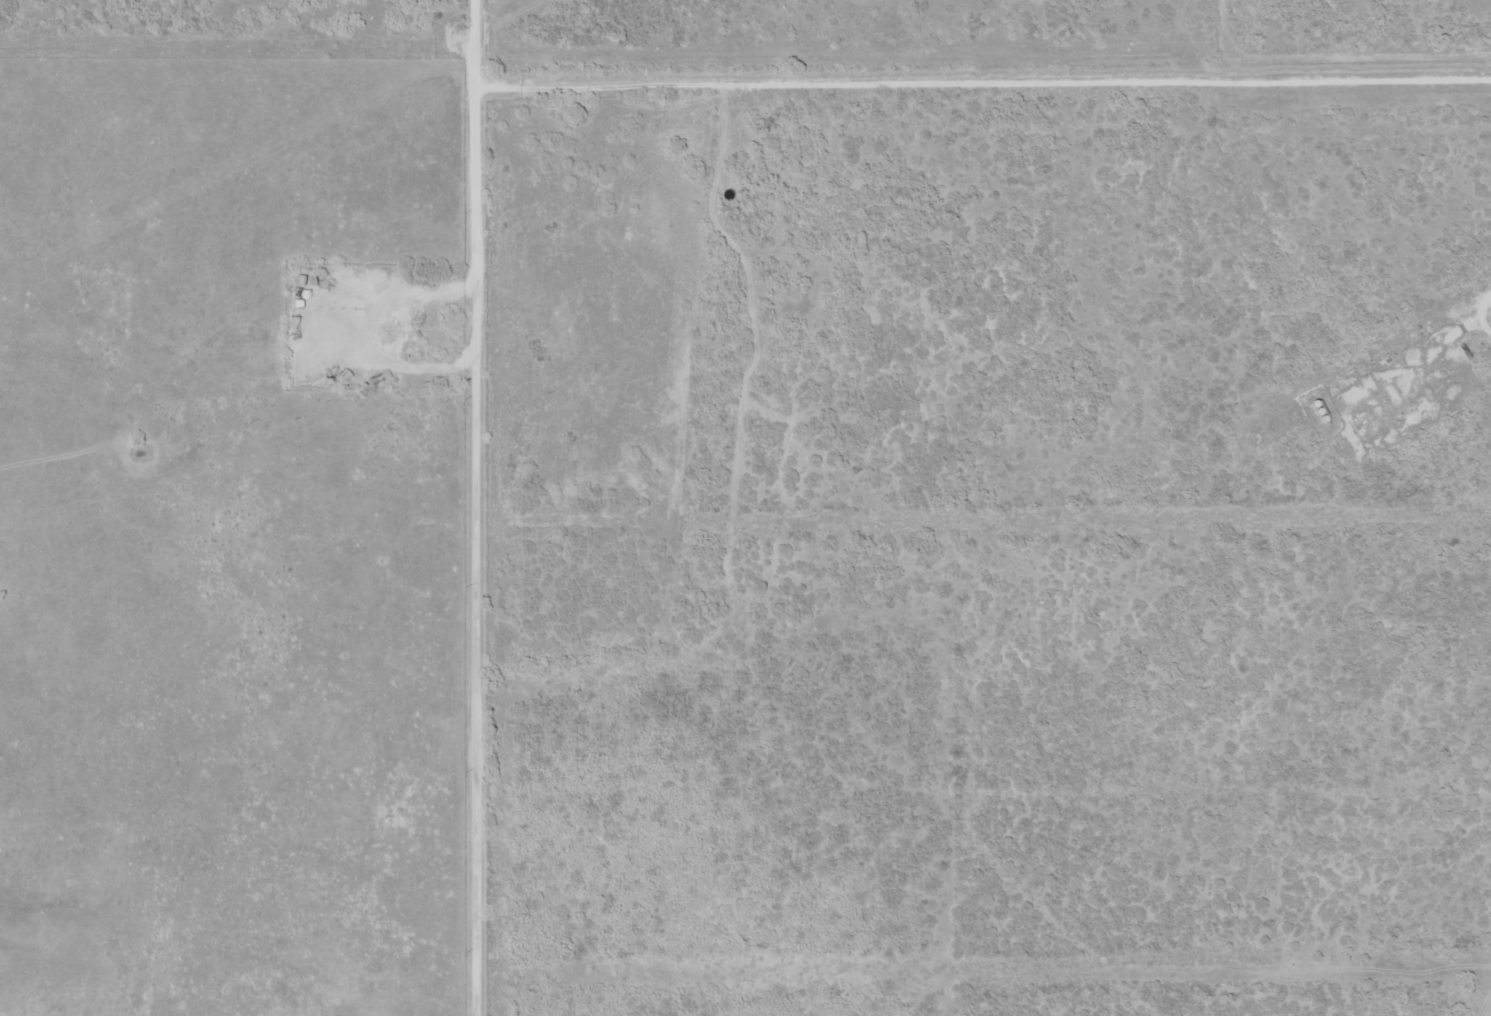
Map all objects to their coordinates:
road: (981, 92)
road: (473, 507)

